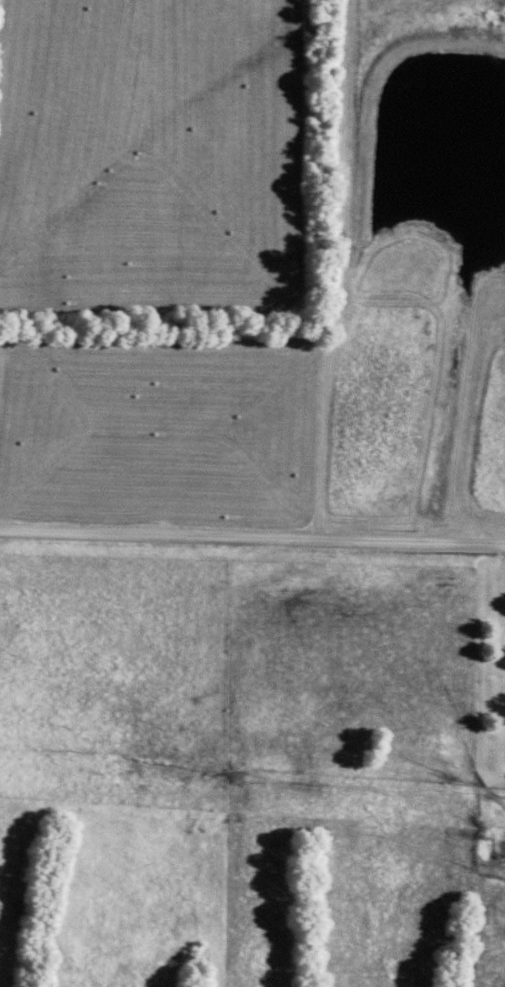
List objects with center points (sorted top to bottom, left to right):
road: (252, 533)
road: (504, 578)

